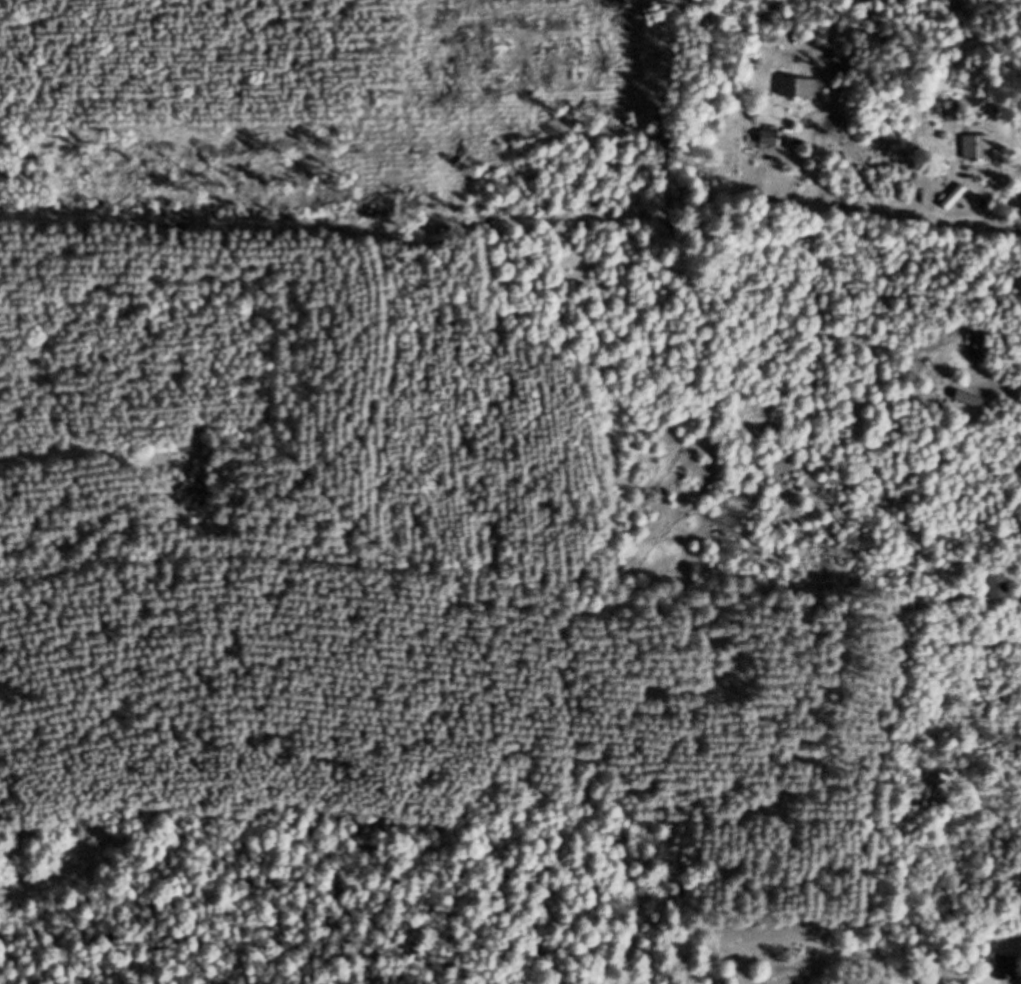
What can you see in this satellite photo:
building: (802, 87)
building: (957, 110)
building: (980, 147)
building: (1000, 587)
building: (1007, 970)

